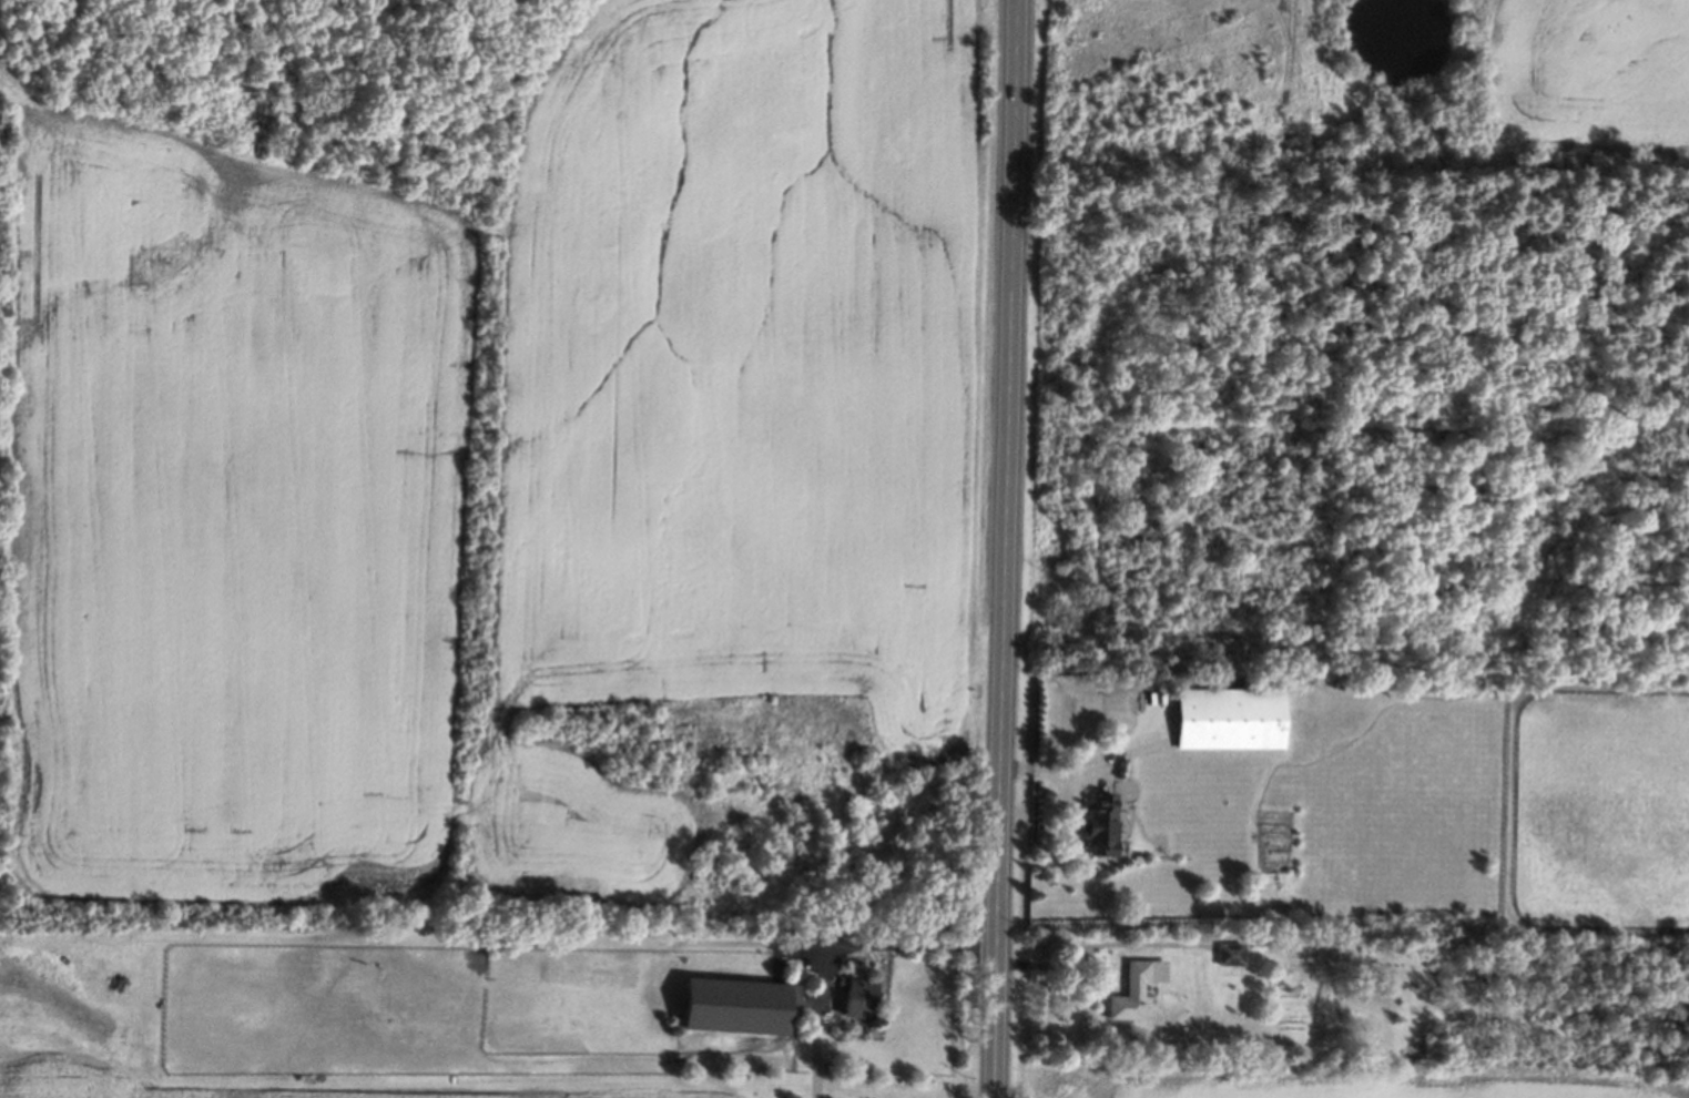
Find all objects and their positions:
crop: (1589, 74)
crop: (750, 362)
crop: (234, 517)
road: (1007, 549)
park: (1106, 706)
building: (1240, 720)
road: (1096, 756)
crop: (1604, 810)
crop: (1393, 815)
crop: (624, 825)
building: (1101, 827)
road: (903, 942)
road: (1058, 967)
building: (1135, 989)
building: (859, 997)
building: (740, 1007)
crop: (352, 1016)
crop: (55, 1028)
crop: (1339, 1081)

